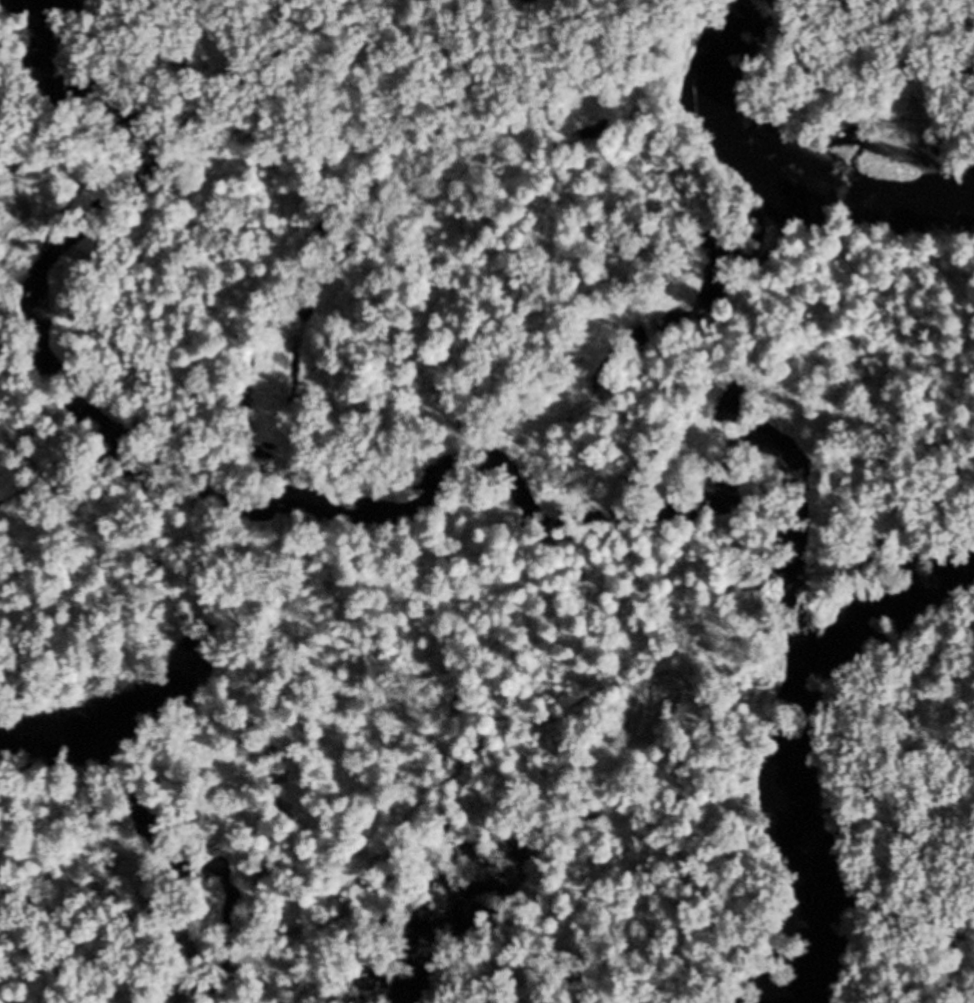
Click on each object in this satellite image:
river: (515, 455)

